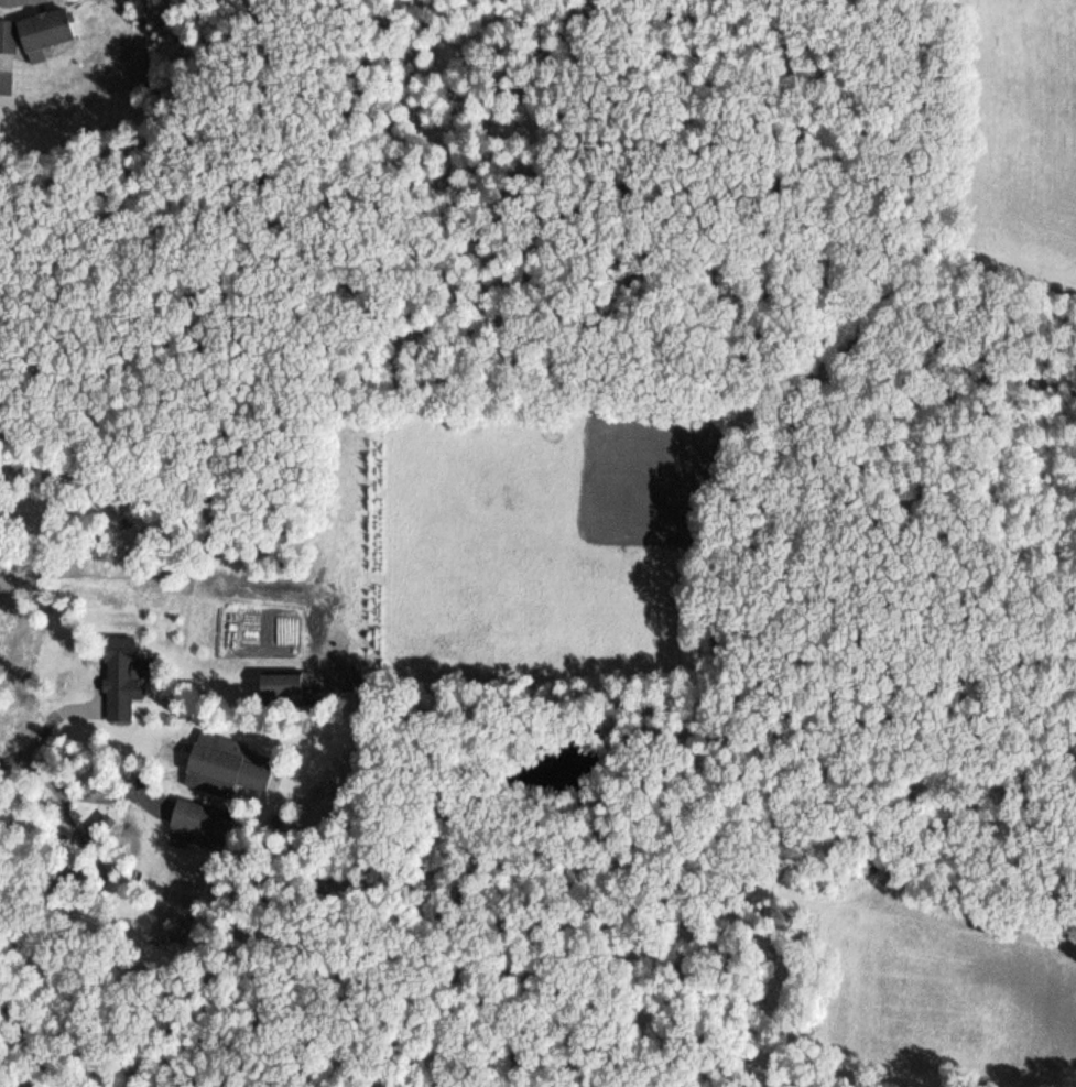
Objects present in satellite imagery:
building: (34, 30)
building: (119, 678)
building: (285, 686)
building: (227, 765)
building: (199, 824)

